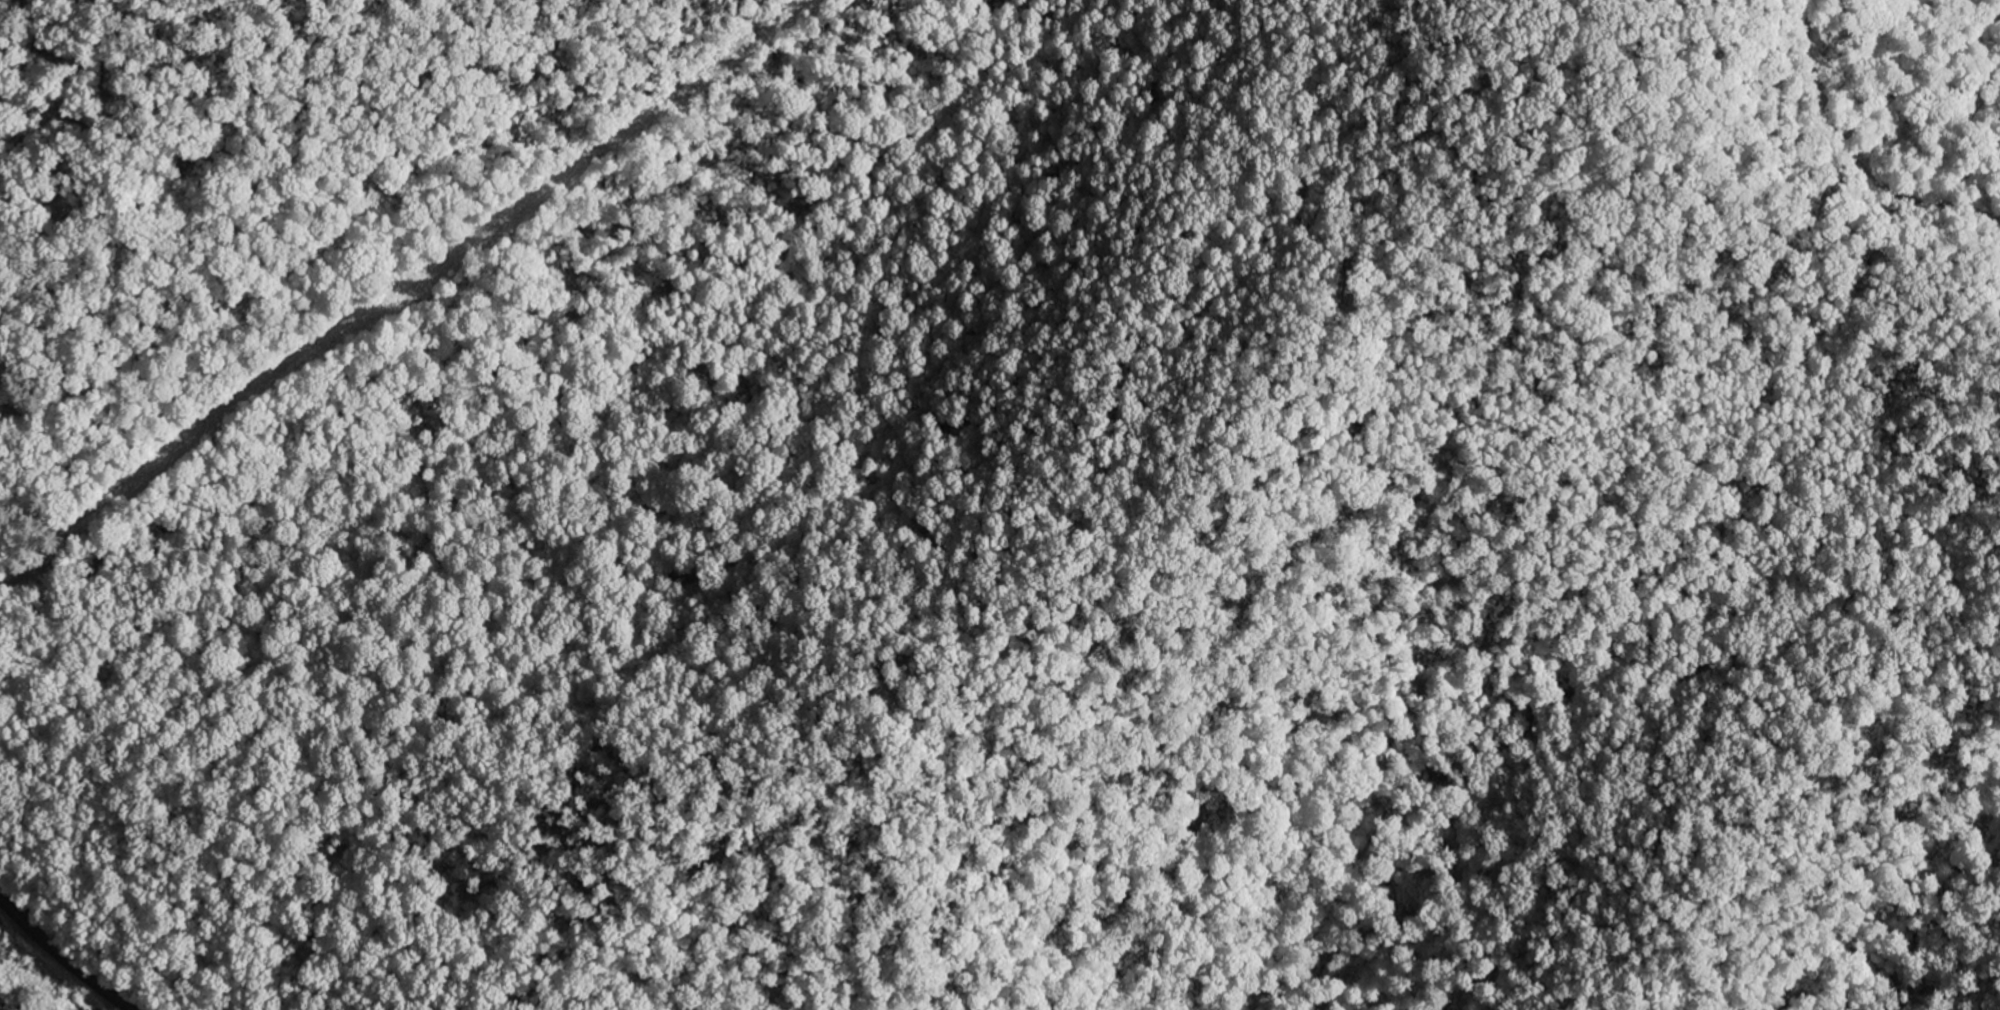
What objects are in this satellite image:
road: (63, 955)

